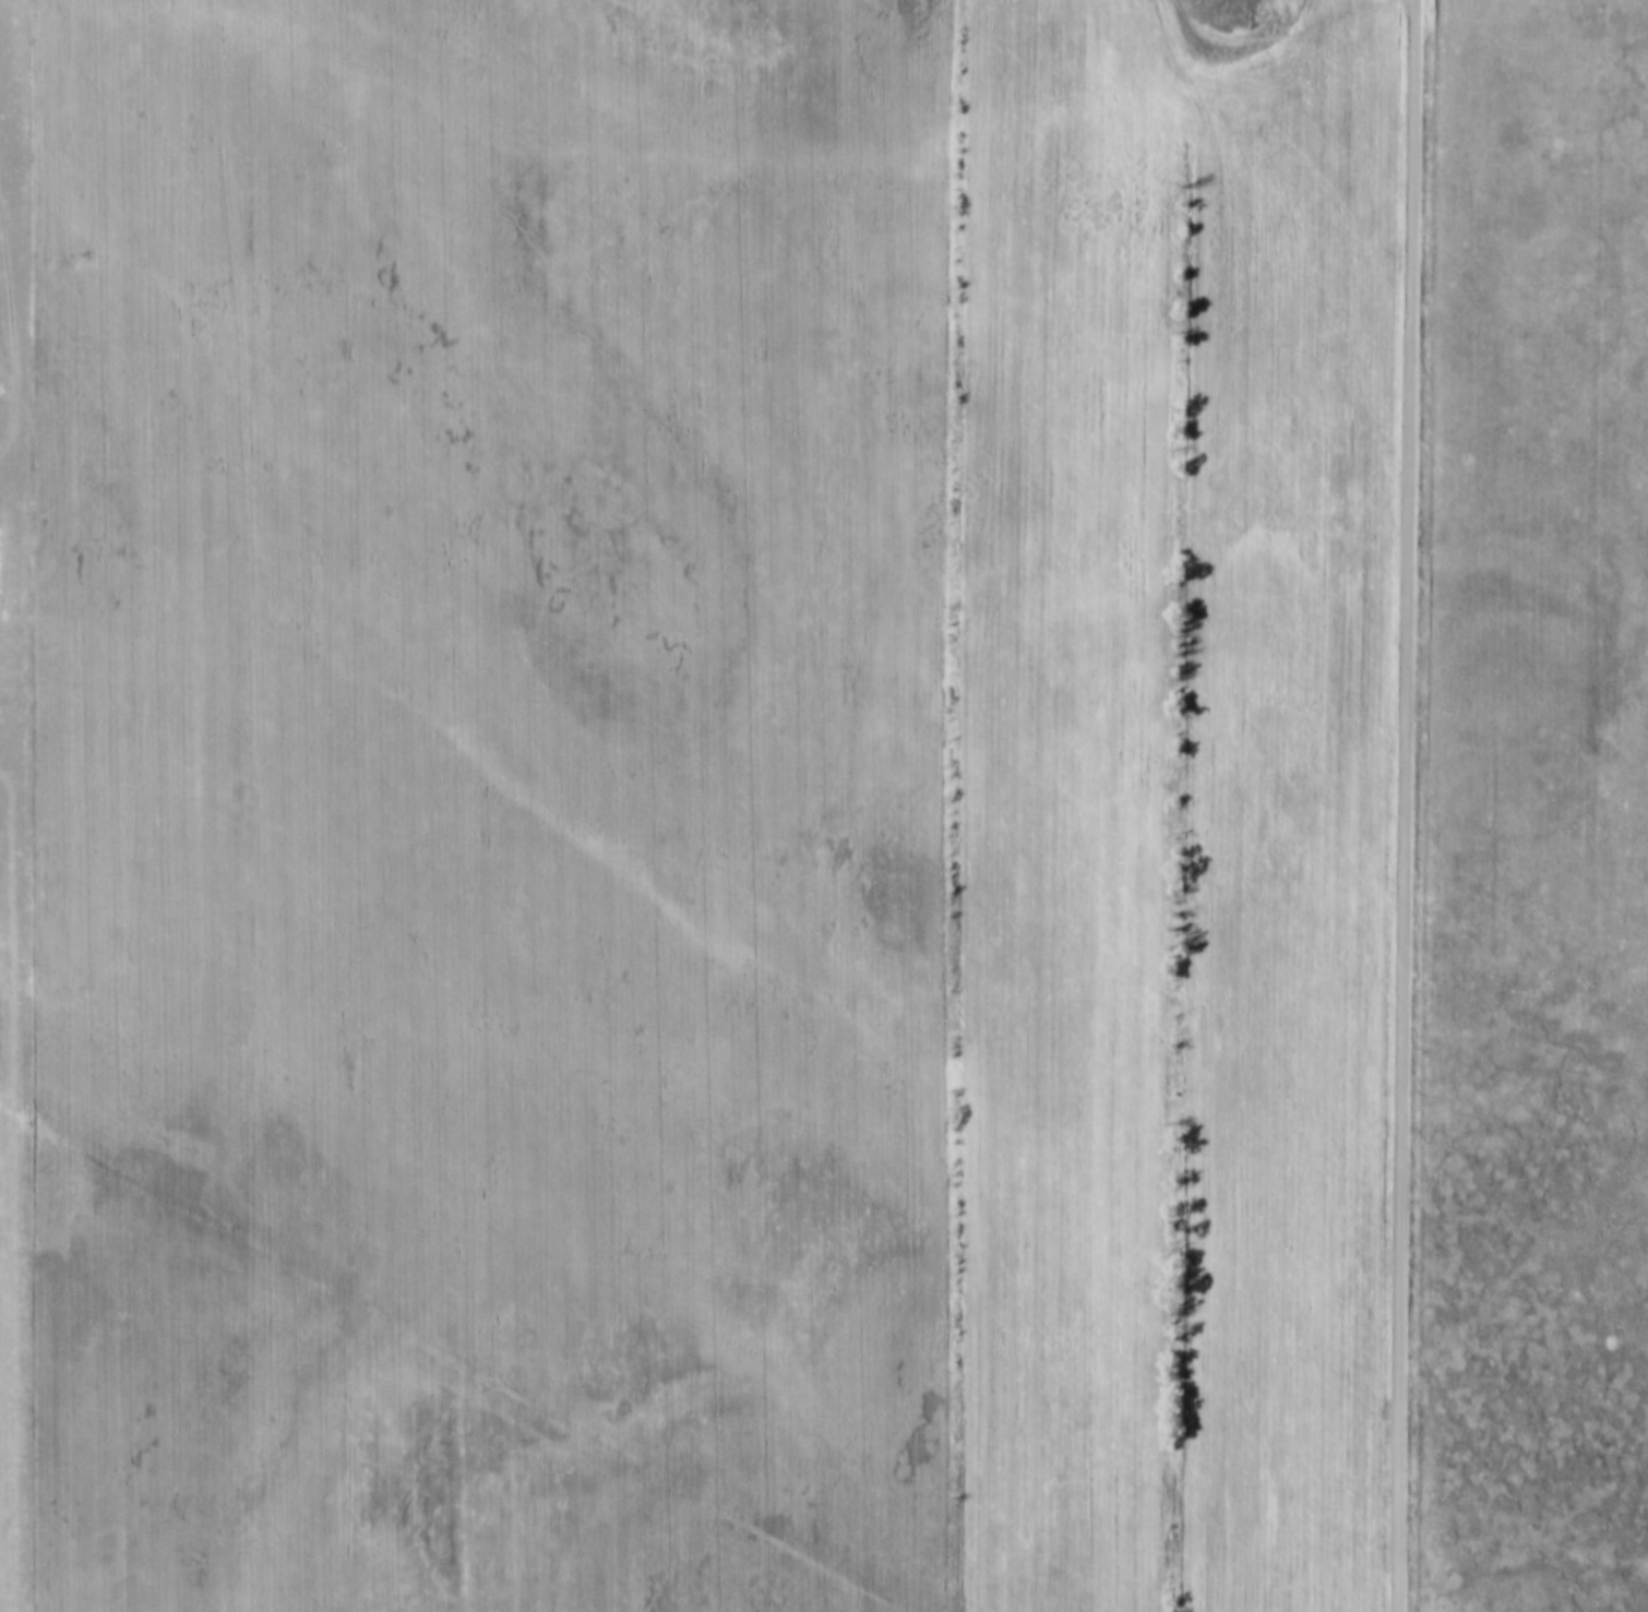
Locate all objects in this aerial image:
road: (1276, 39)
road: (1406, 805)

